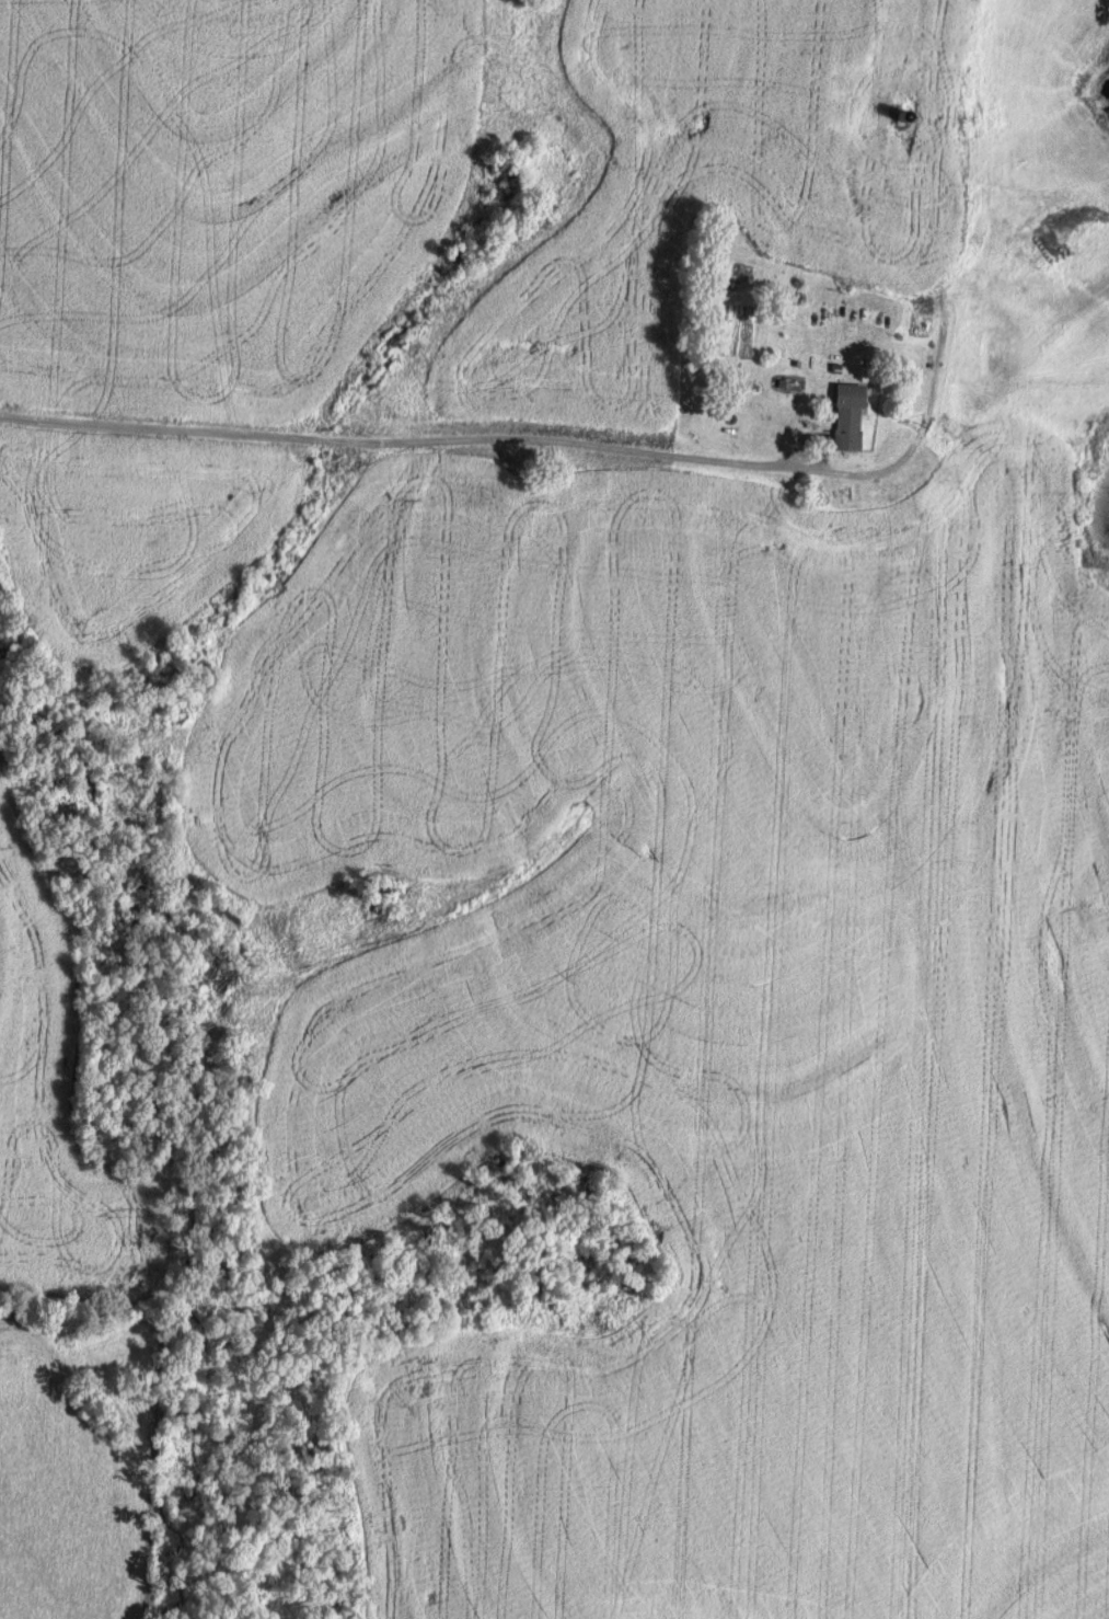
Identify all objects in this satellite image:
building: (882, 171)
building: (836, 307)
building: (916, 326)
building: (840, 358)
building: (844, 418)
road: (563, 444)

